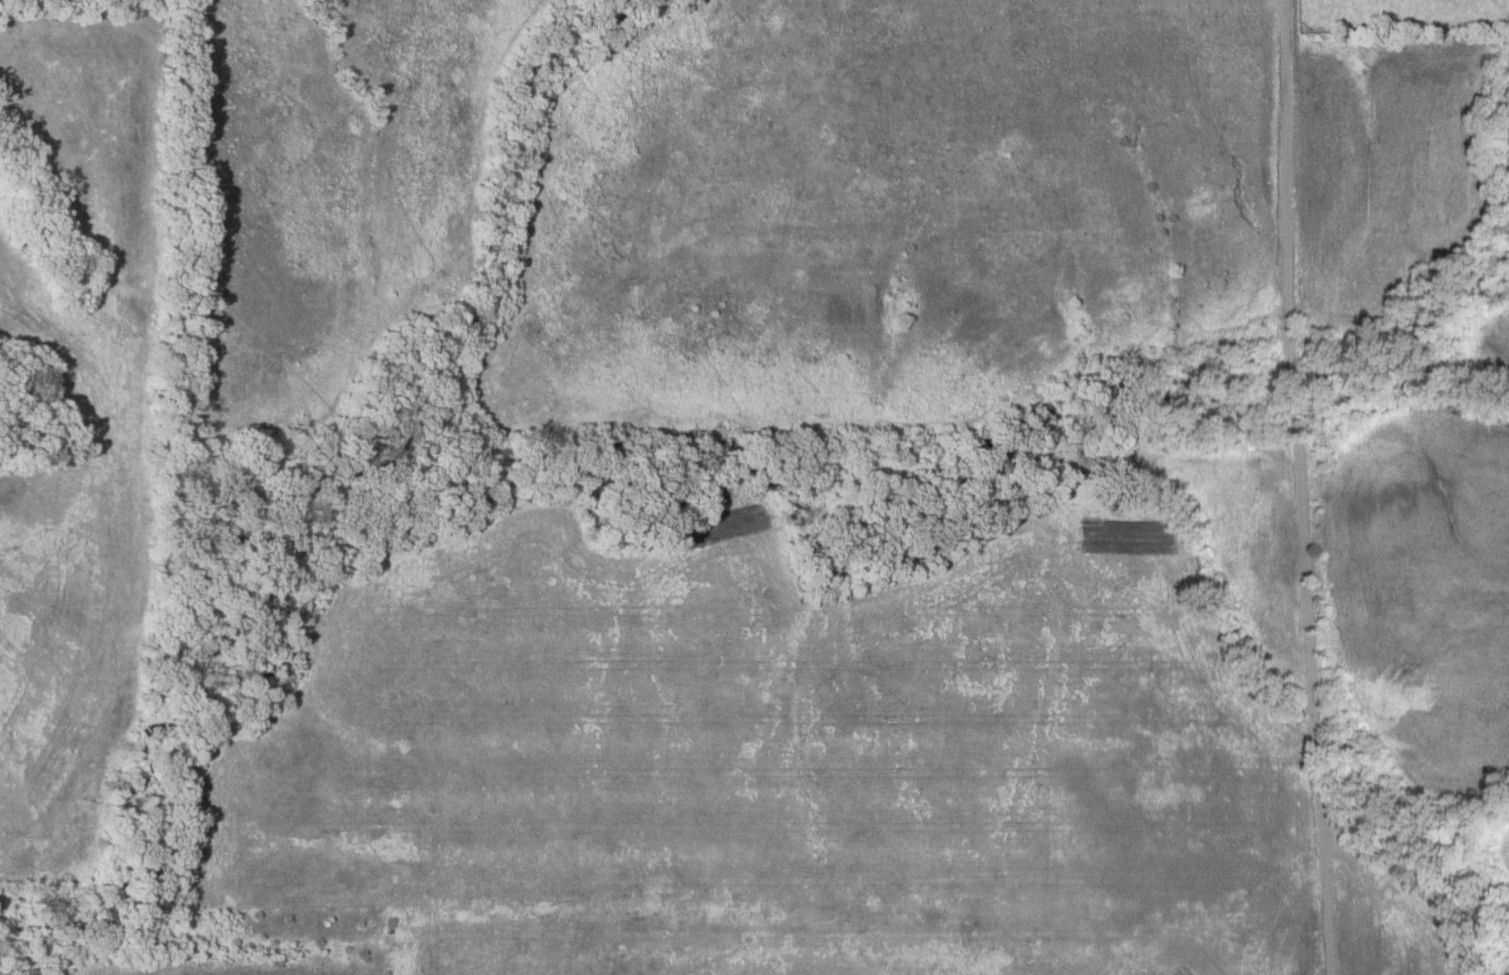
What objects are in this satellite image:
road: (1302, 487)

